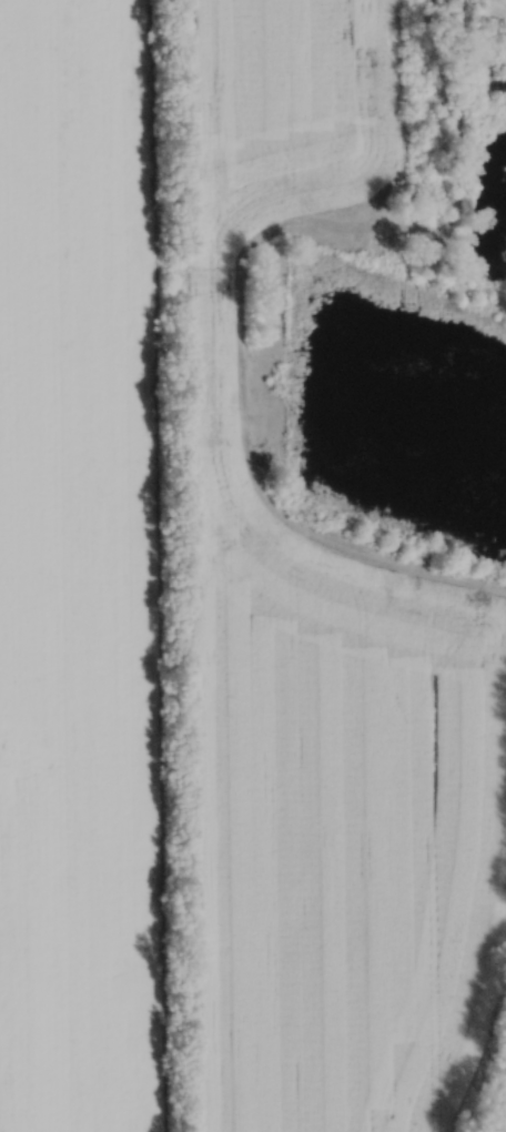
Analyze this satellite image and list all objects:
road: (237, 282)
crop: (322, 669)

